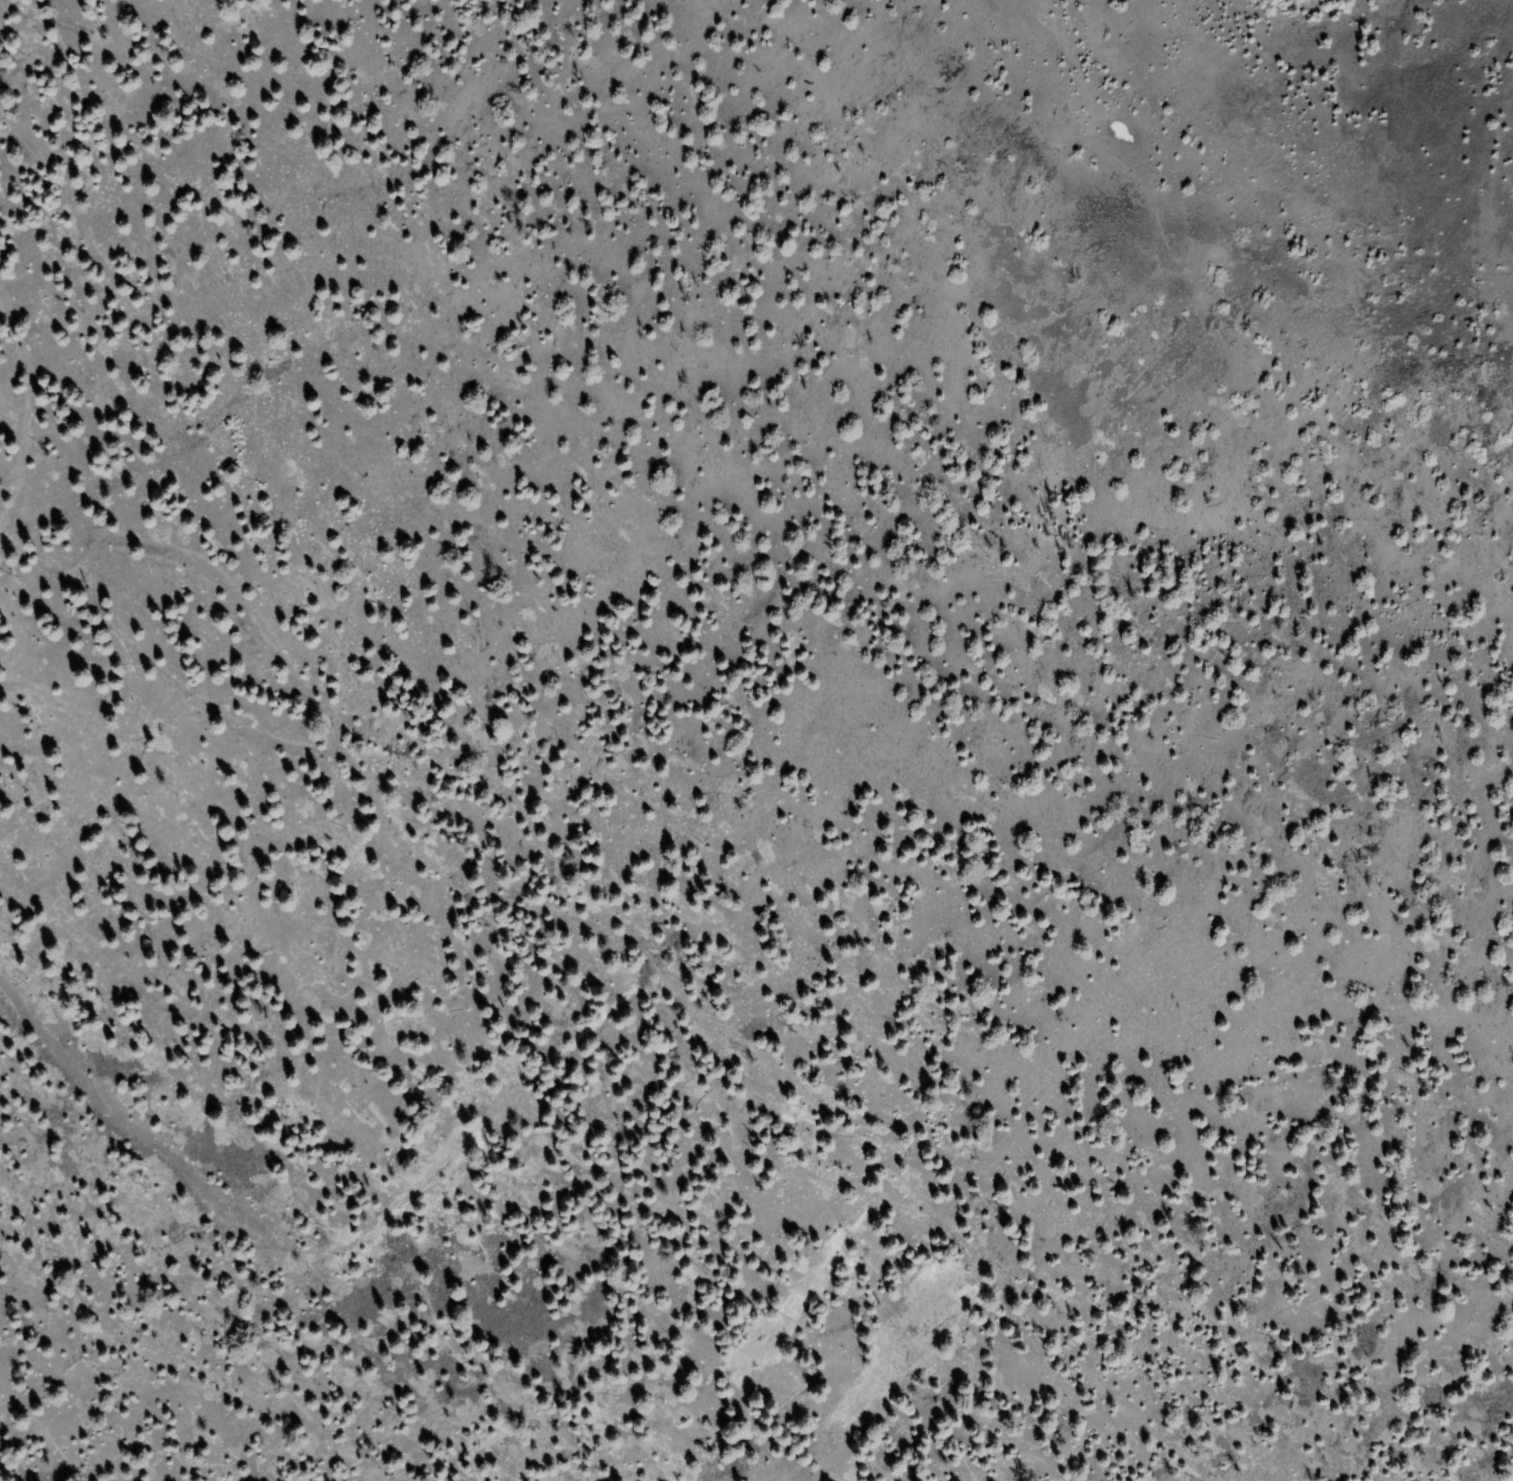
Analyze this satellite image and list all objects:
road: (555, 858)
road: (94, 1072)
road: (22, 1465)

